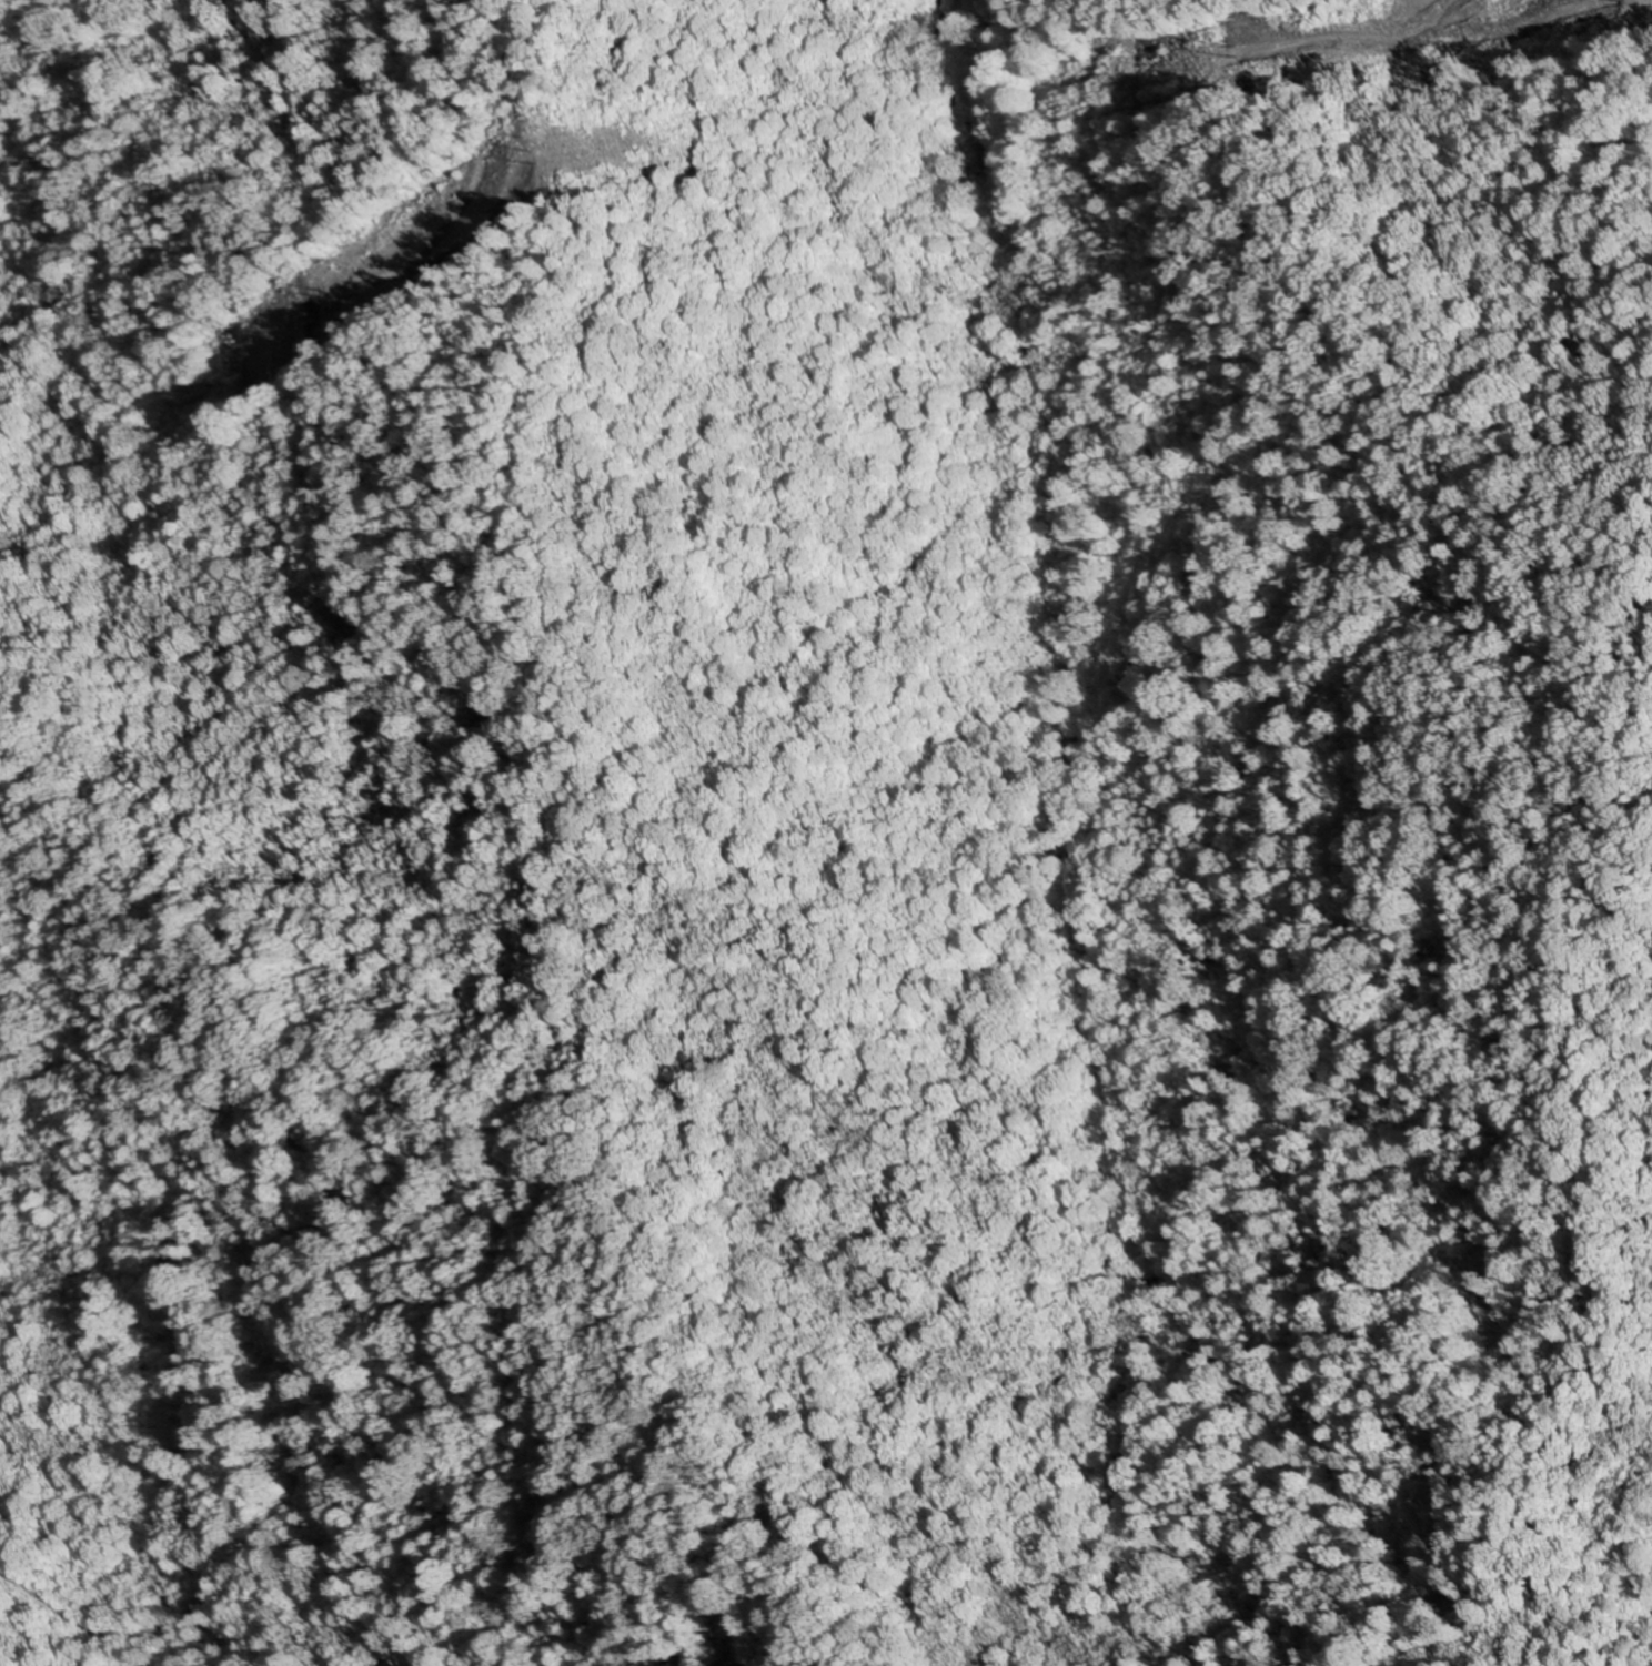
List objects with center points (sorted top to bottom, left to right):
power tower: (533, 160)

